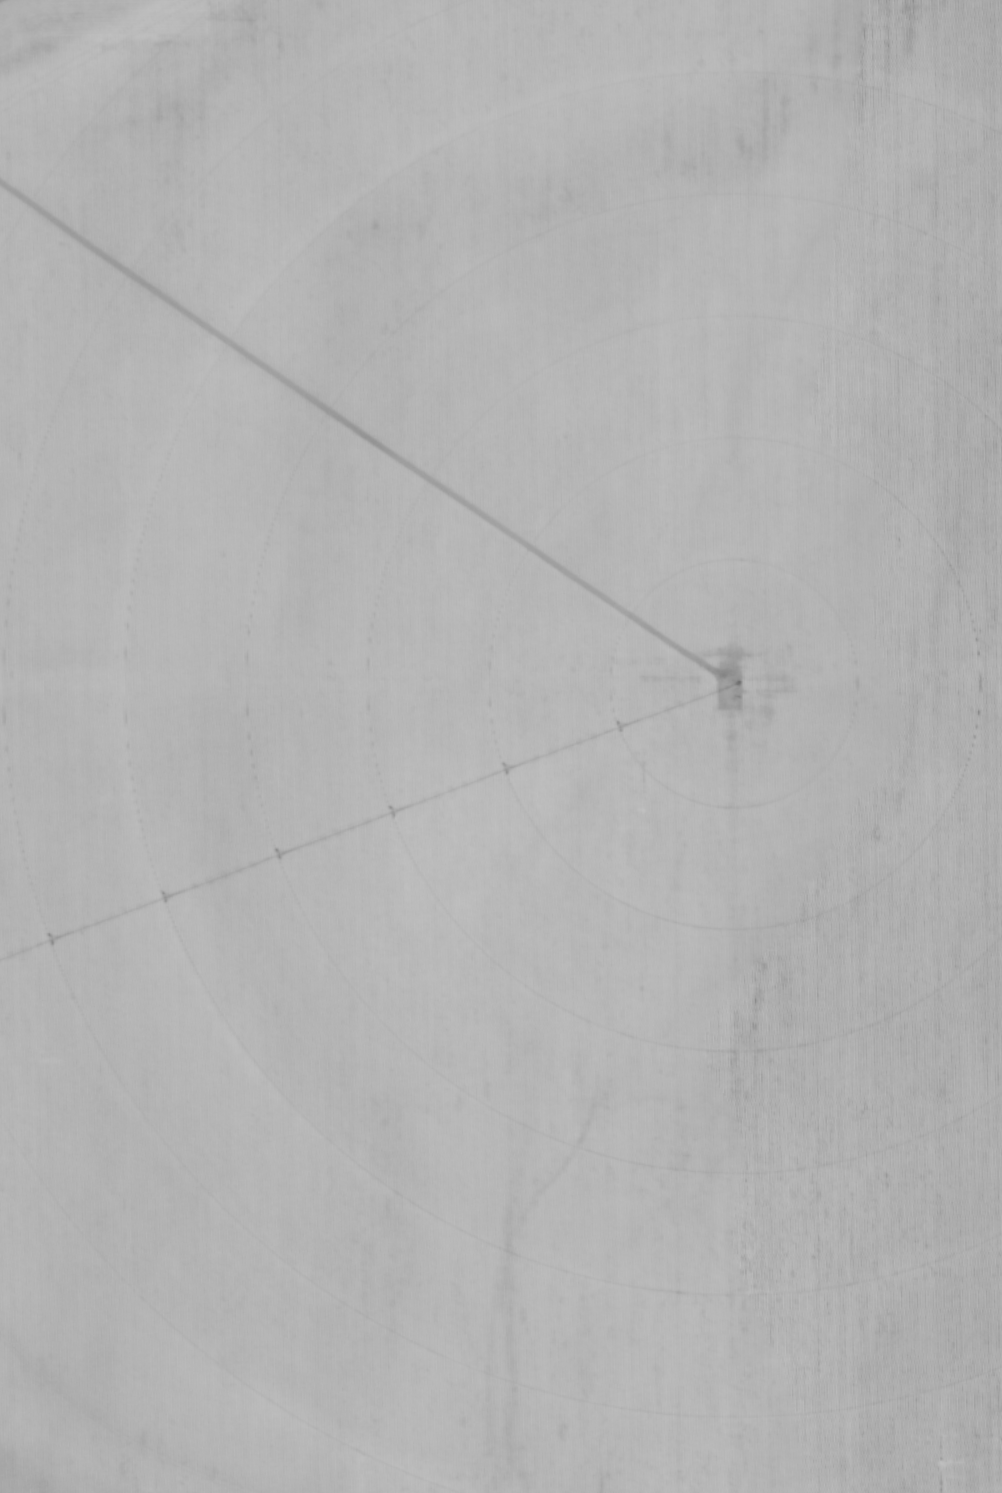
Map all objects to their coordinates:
crop: (501, 746)

